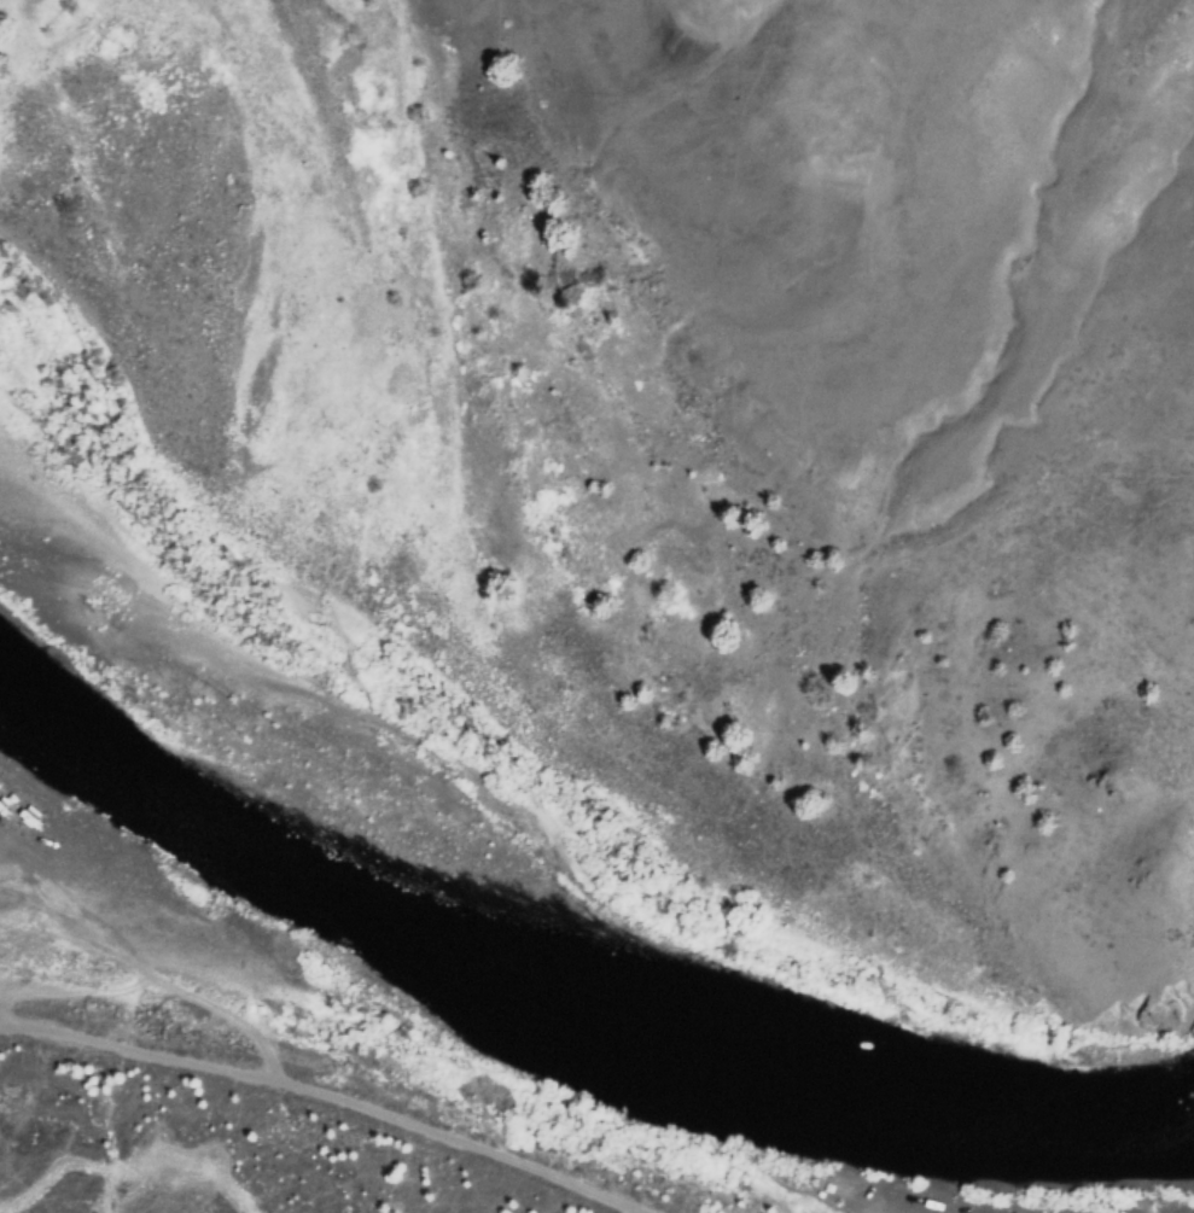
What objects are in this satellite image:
river: (560, 1016)
road: (322, 1095)

